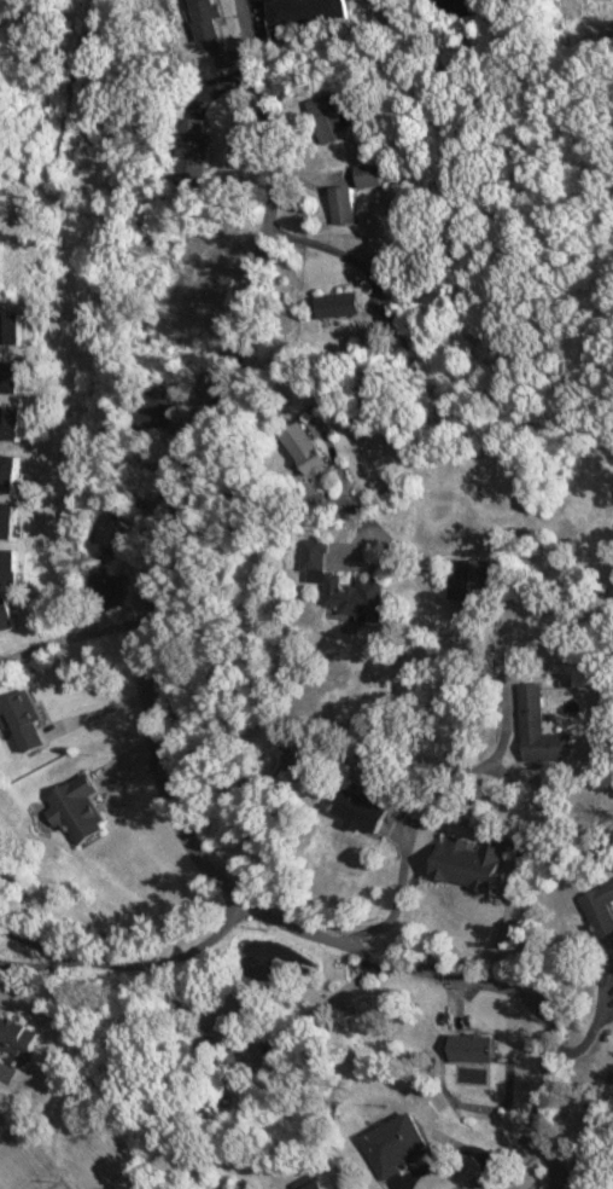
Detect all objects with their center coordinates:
building: (304, 11)
building: (205, 18)
building: (325, 116)
building: (192, 155)
building: (368, 174)
building: (341, 204)
building: (337, 304)
building: (164, 404)
building: (302, 447)
building: (467, 579)
building: (338, 586)
building: (107, 588)
road: (71, 630)
road: (262, 694)
road: (147, 723)
building: (538, 727)
building: (77, 808)
building: (357, 810)
building: (466, 863)
building: (601, 922)
road: (128, 956)
building: (17, 1034)
building: (245, 1044)
building: (467, 1048)
building: (395, 1144)
building: (316, 1185)

